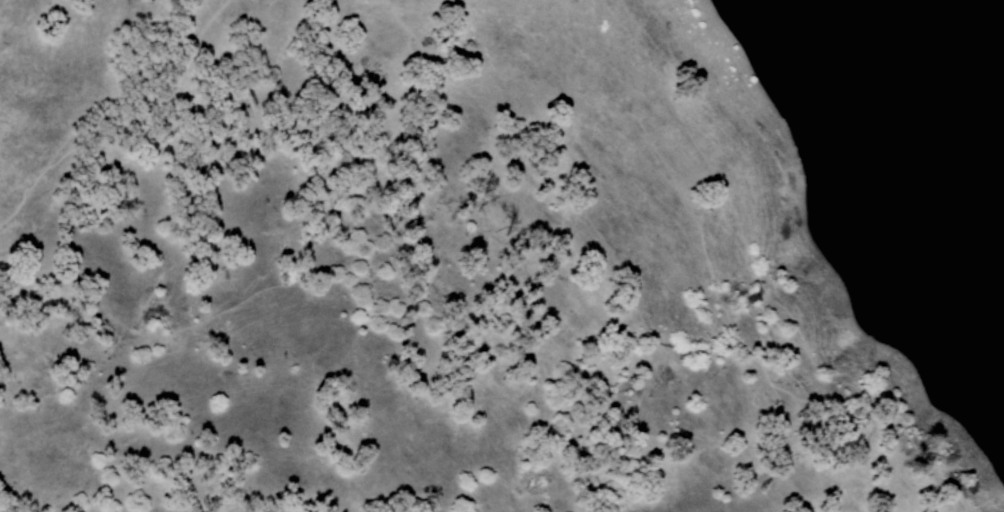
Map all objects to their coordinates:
river: (977, 127)

